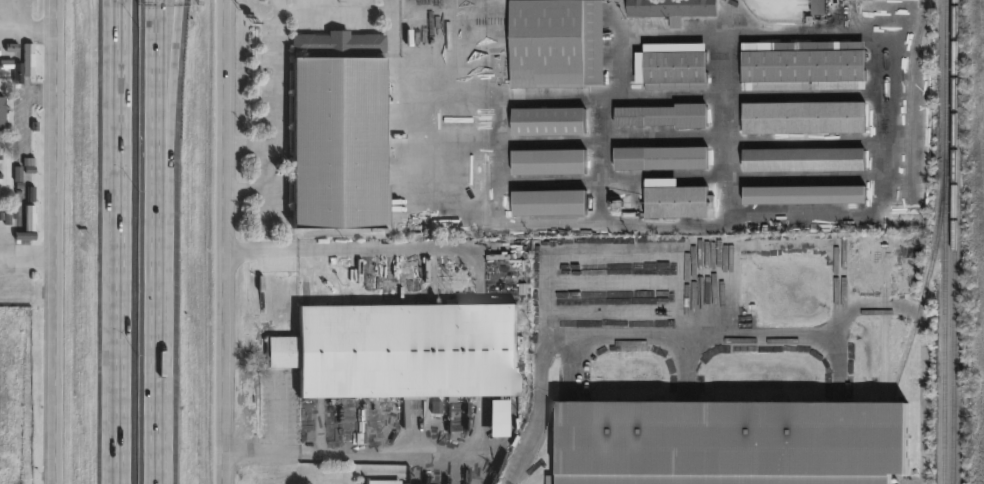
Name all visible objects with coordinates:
building: (818, 6)
building: (674, 9)
road: (340, 16)
road: (27, 26)
road: (114, 27)
road: (116, 27)
building: (557, 43)
building: (7, 60)
building: (673, 66)
building: (804, 66)
road: (729, 107)
building: (3, 114)
road: (157, 114)
road: (168, 114)
road: (274, 114)
building: (664, 115)
building: (805, 118)
building: (549, 121)
building: (339, 132)
road: (24, 141)
building: (662, 158)
building: (805, 160)
building: (550, 162)
building: (807, 195)
building: (675, 199)
building: (550, 203)
road: (116, 220)
road: (54, 242)
road: (223, 242)
railway: (944, 242)
railway: (953, 242)
road: (354, 249)
building: (906, 254)
road: (27, 259)
road: (157, 307)
road: (552, 313)
building: (406, 353)
road: (277, 418)
road: (116, 435)
road: (158, 435)
building: (734, 441)
road: (250, 452)
road: (382, 453)
road: (342, 480)
building: (385, 482)

